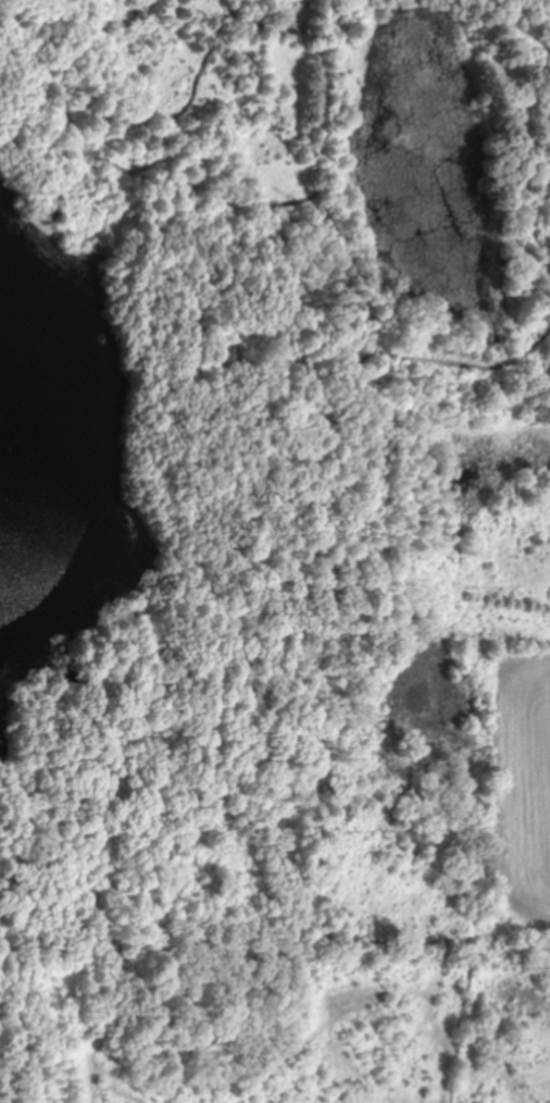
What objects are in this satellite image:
crop: (516, 782)

